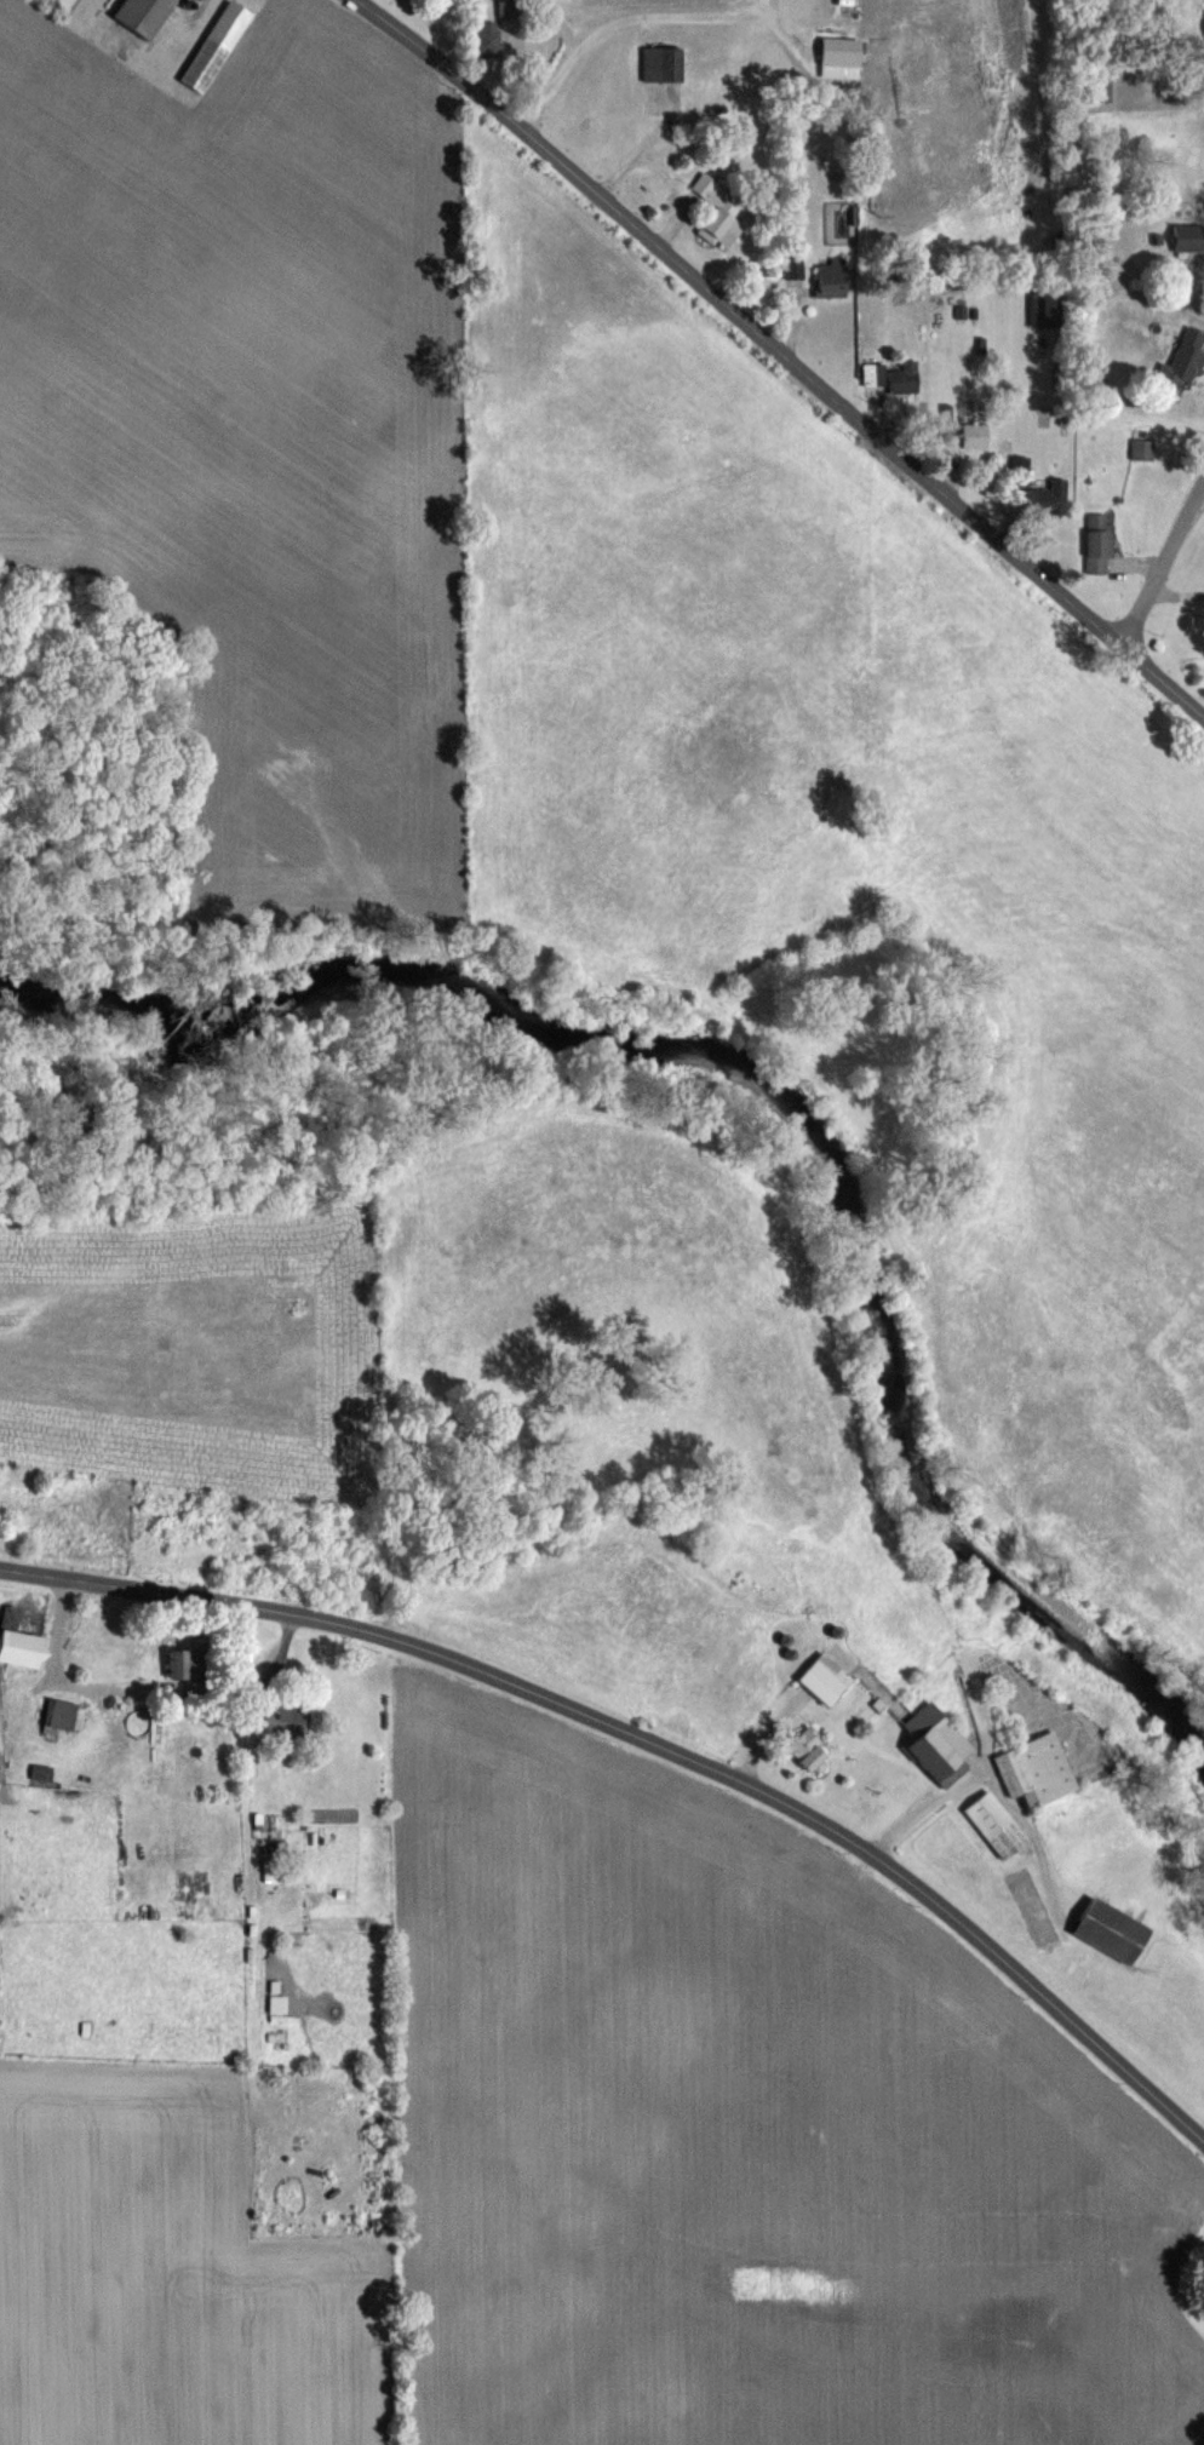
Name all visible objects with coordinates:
building: (509, 8)
building: (143, 16)
road: (620, 17)
building: (487, 36)
building: (214, 46)
building: (838, 57)
building: (660, 63)
building: (717, 211)
building: (1186, 236)
building: (830, 276)
building: (1042, 309)
building: (1186, 354)
road: (784, 356)
building: (872, 373)
building: (902, 377)
crop: (254, 432)
building: (974, 435)
building: (1141, 448)
building: (1045, 498)
building: (1097, 543)
road: (1160, 563)
river: (781, 1096)
building: (17, 1641)
building: (187, 1661)
road: (65, 1675)
building: (824, 1678)
building: (61, 1714)
building: (283, 1720)
road: (655, 1743)
building: (935, 1744)
building: (809, 1751)
building: (1034, 1769)
road: (918, 1803)
building: (994, 1824)
building: (1110, 1929)
building: (277, 2003)

